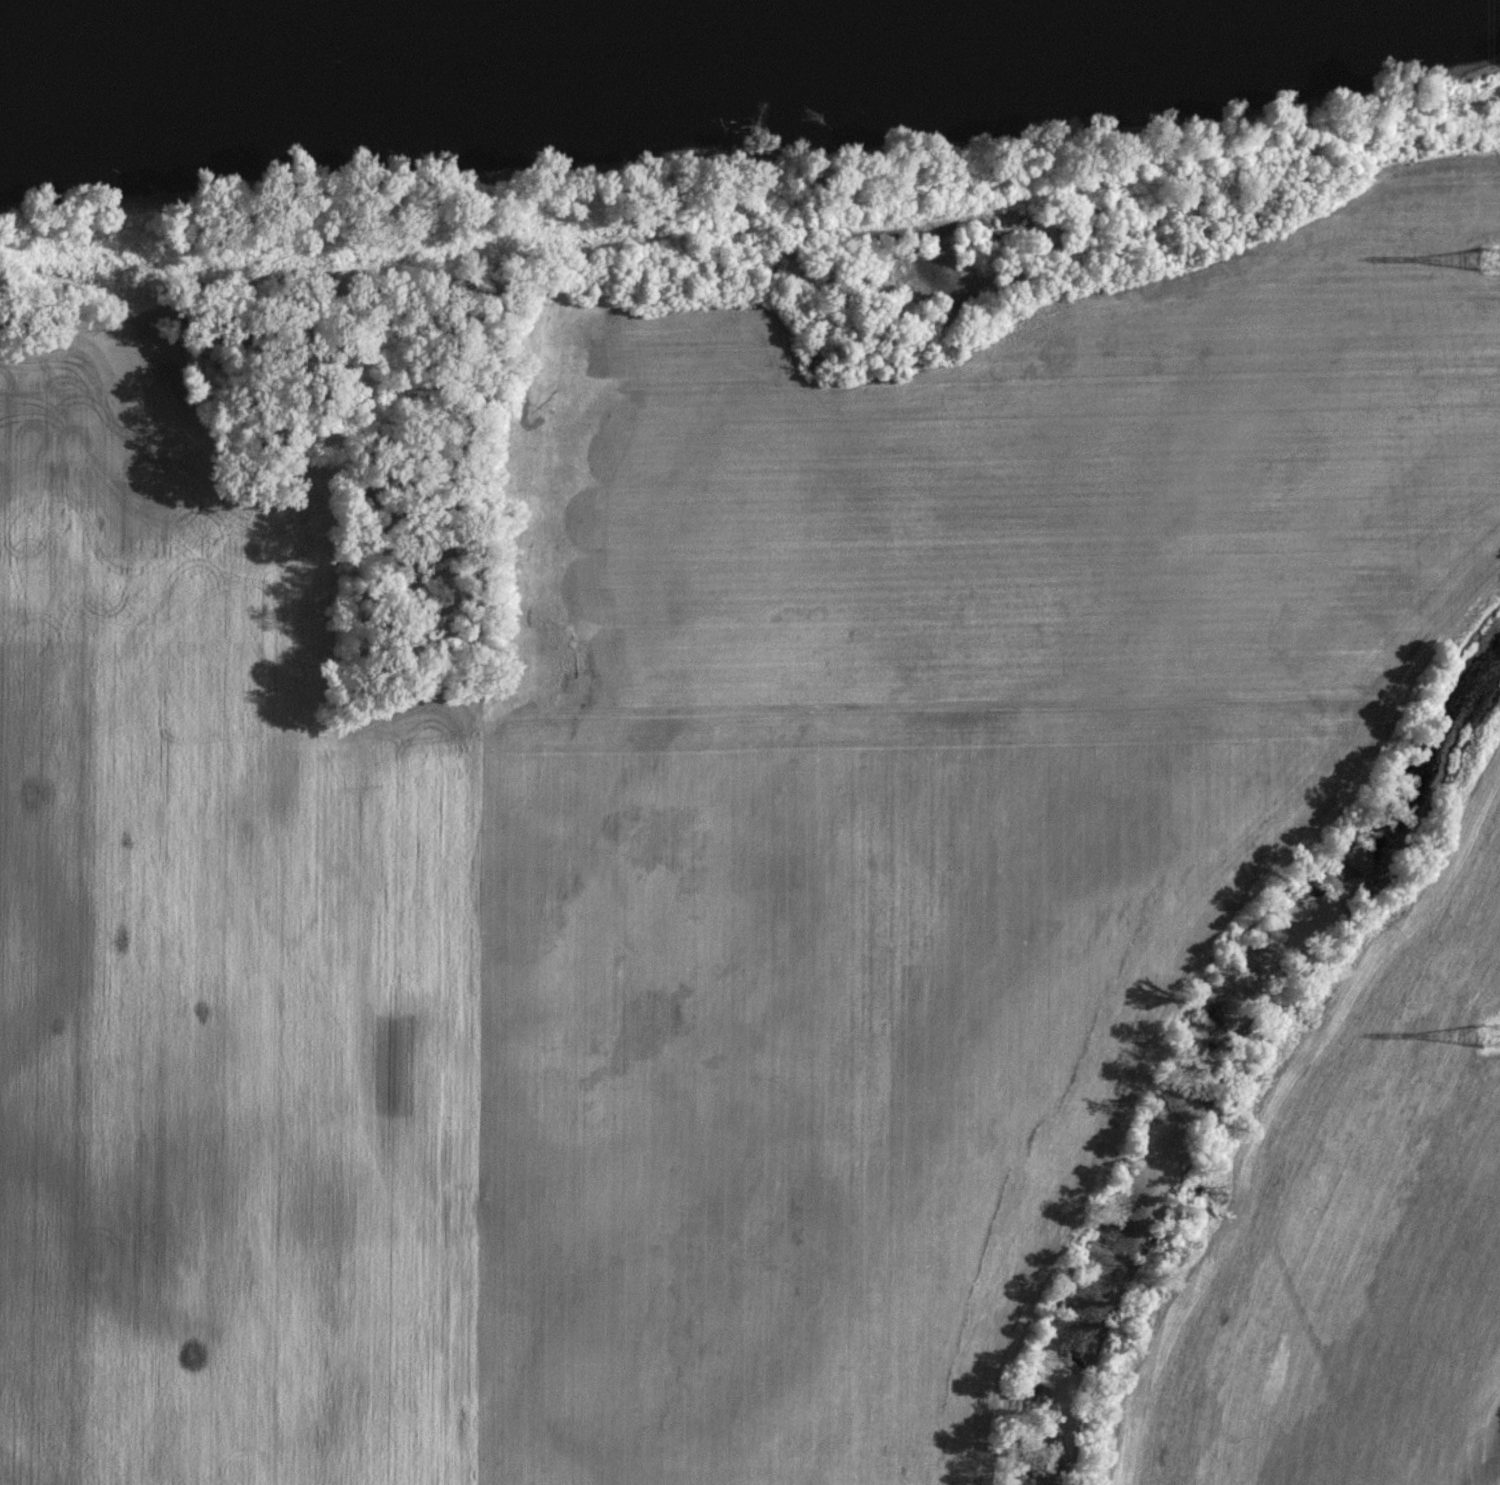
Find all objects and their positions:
power tower: (1499, 1038)

